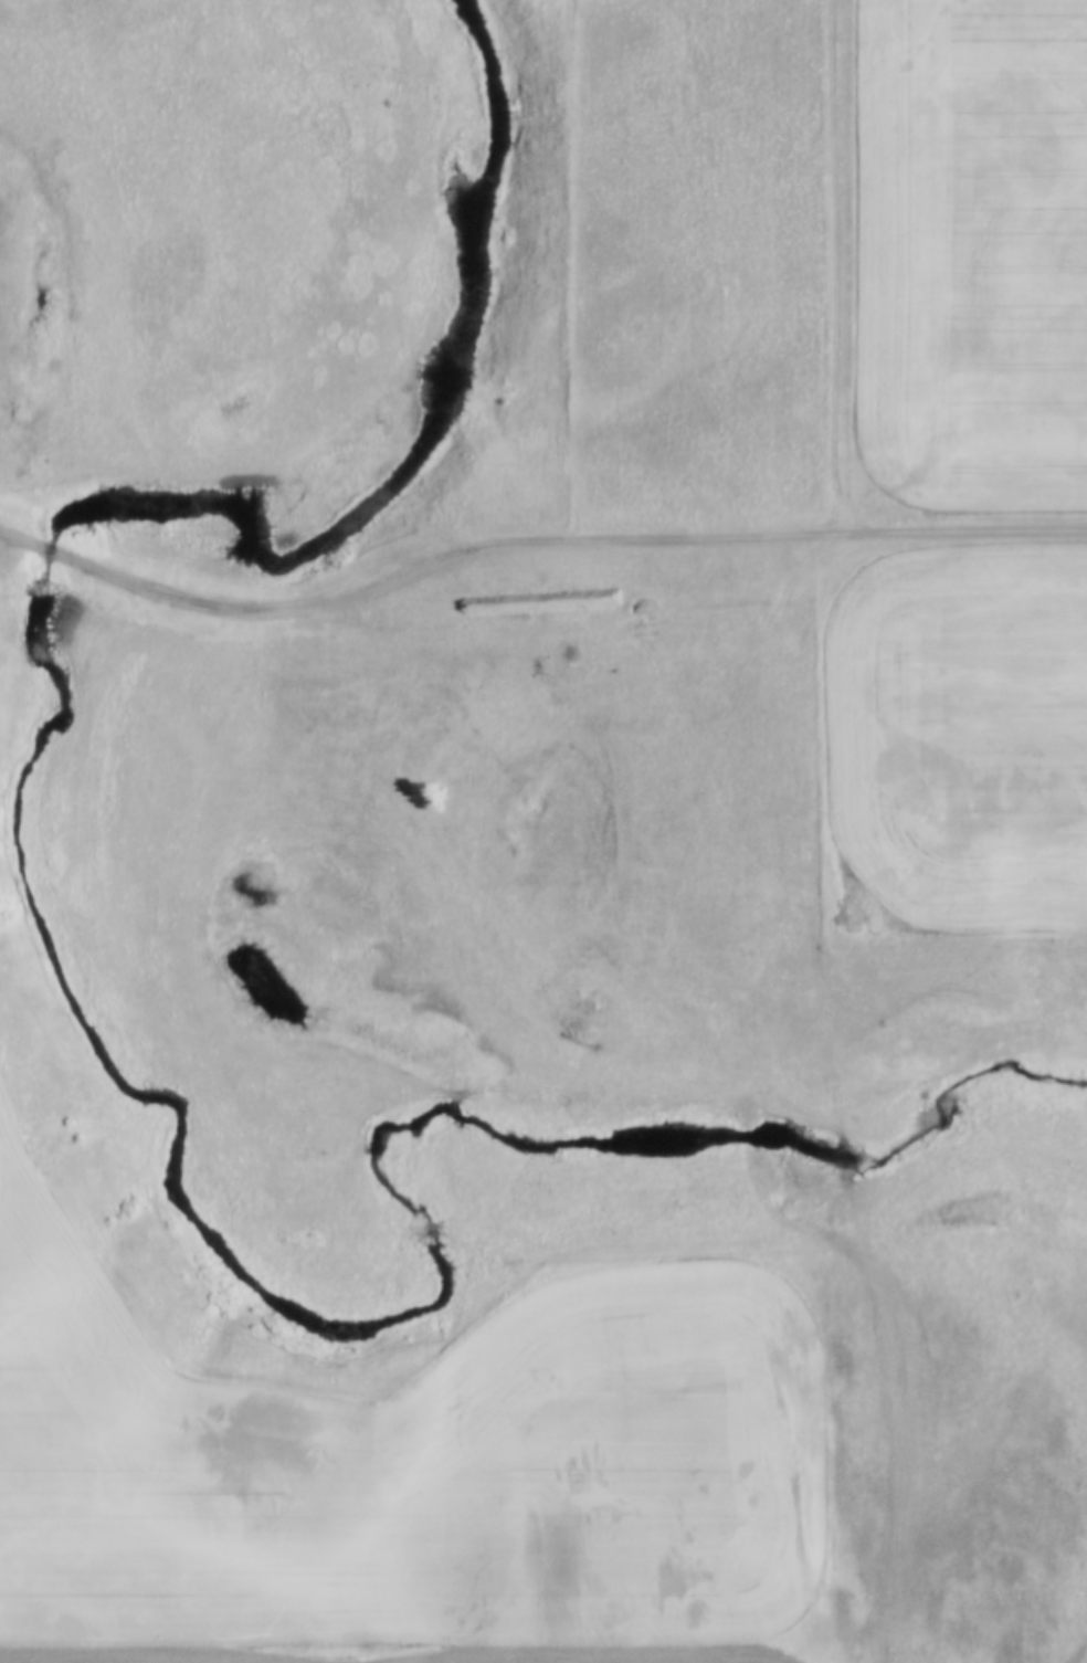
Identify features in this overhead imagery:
road: (532, 537)

